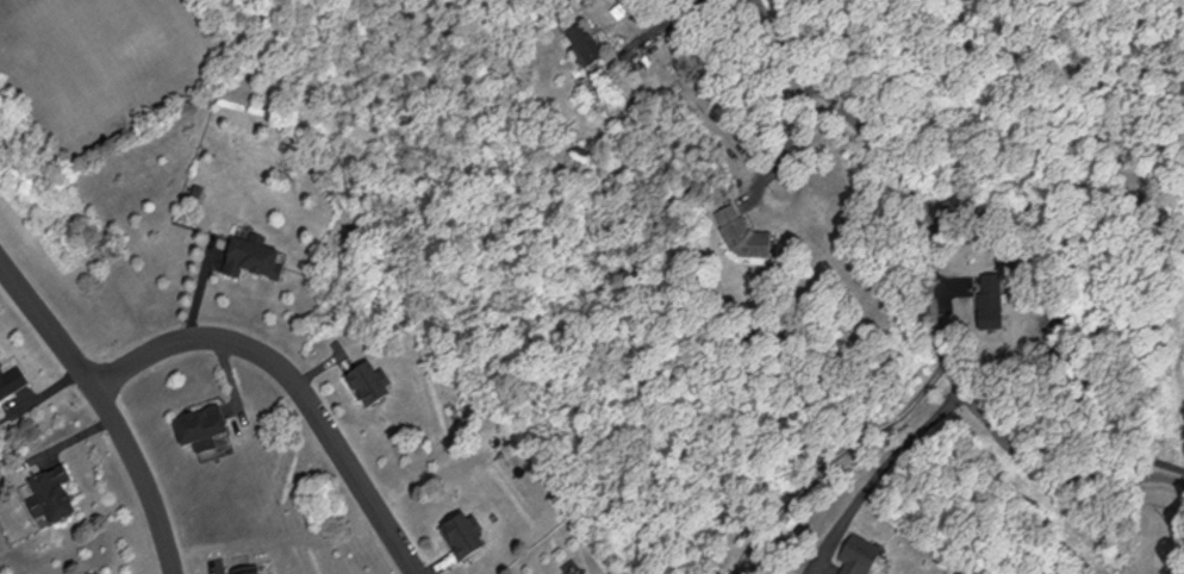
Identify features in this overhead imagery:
building: (592, 45)
road: (785, 138)
building: (750, 237)
road: (933, 293)
road: (50, 323)
road: (298, 383)
building: (375, 386)
road: (883, 455)
road: (833, 457)
road: (144, 479)
building: (472, 536)
building: (867, 556)

